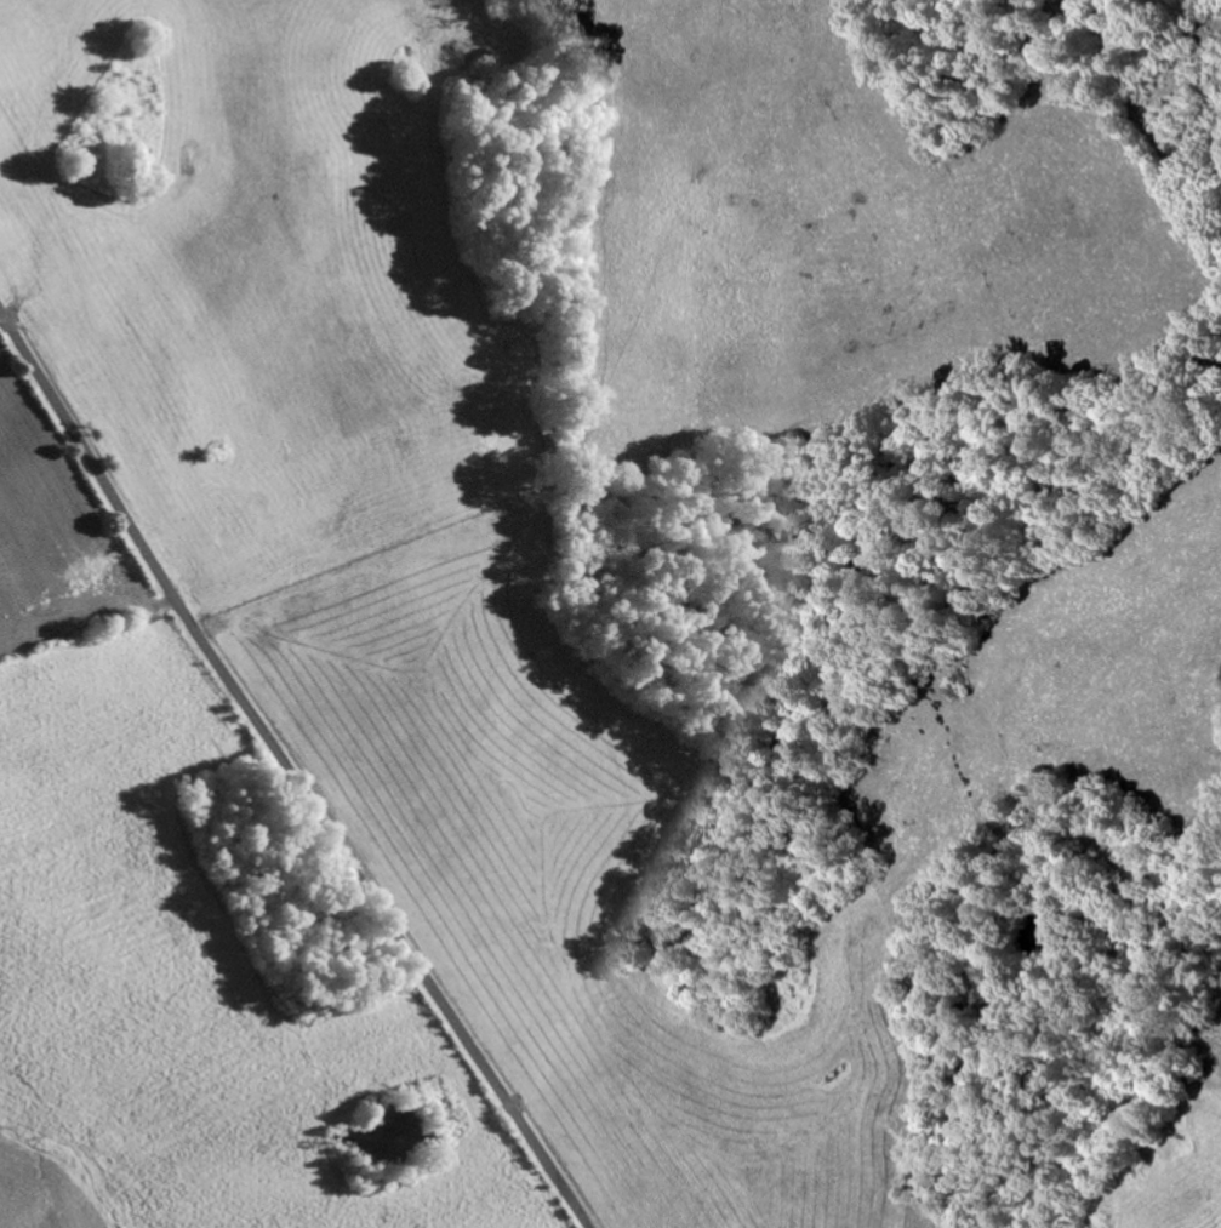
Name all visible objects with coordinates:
road: (291, 773)

